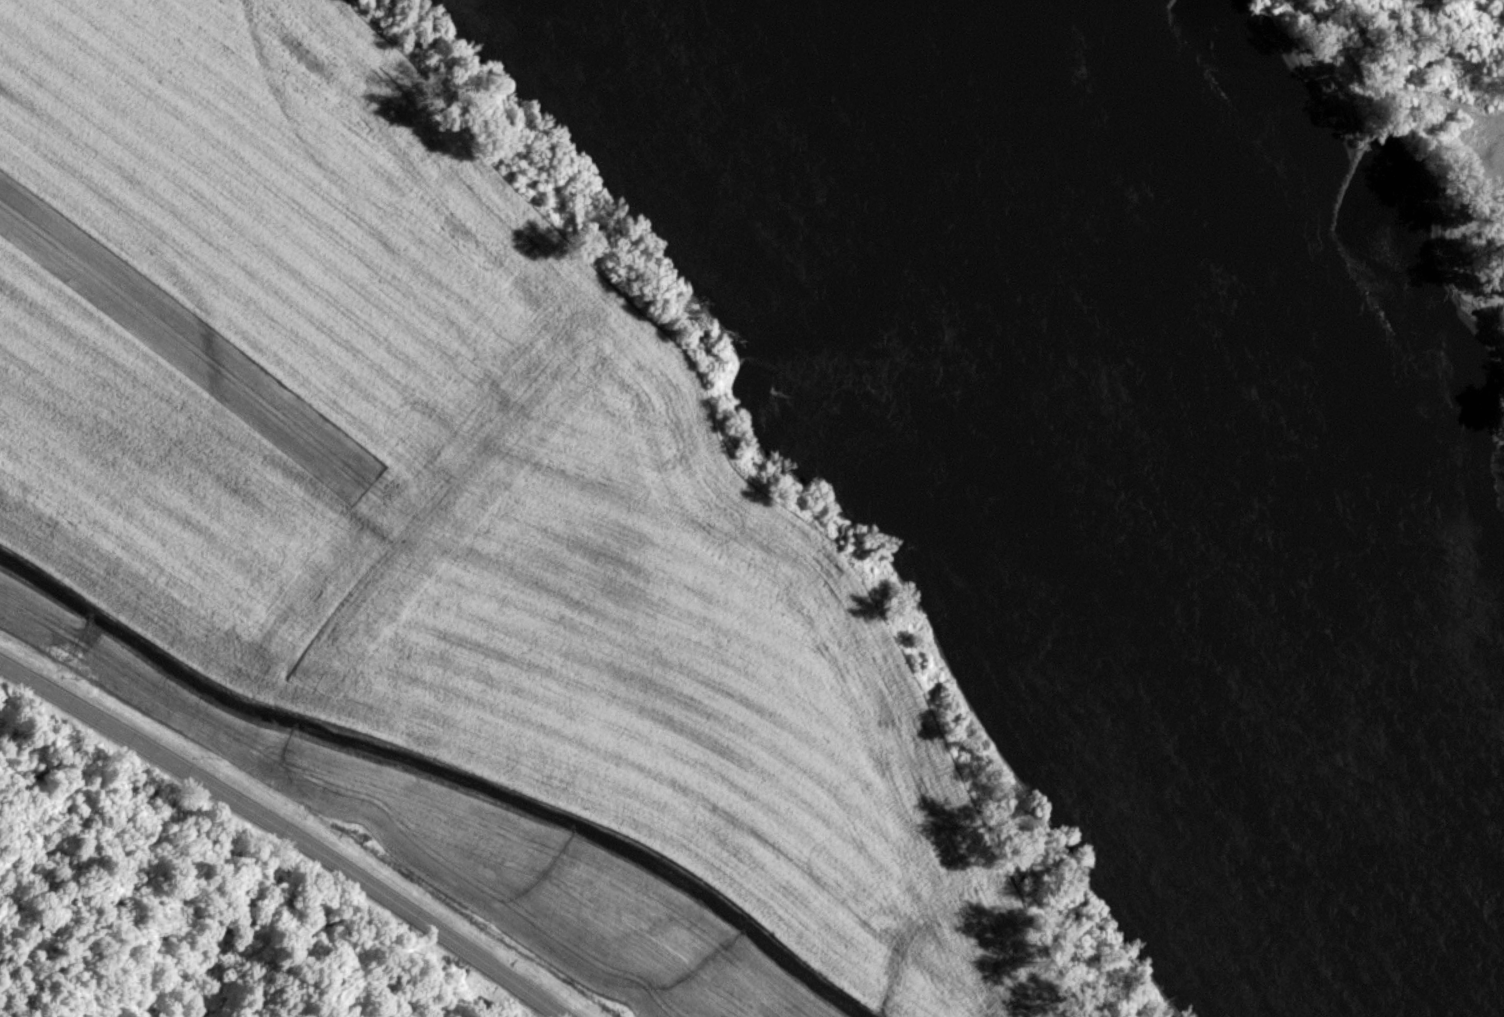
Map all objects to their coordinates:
river: (1179, 501)
road: (286, 834)

